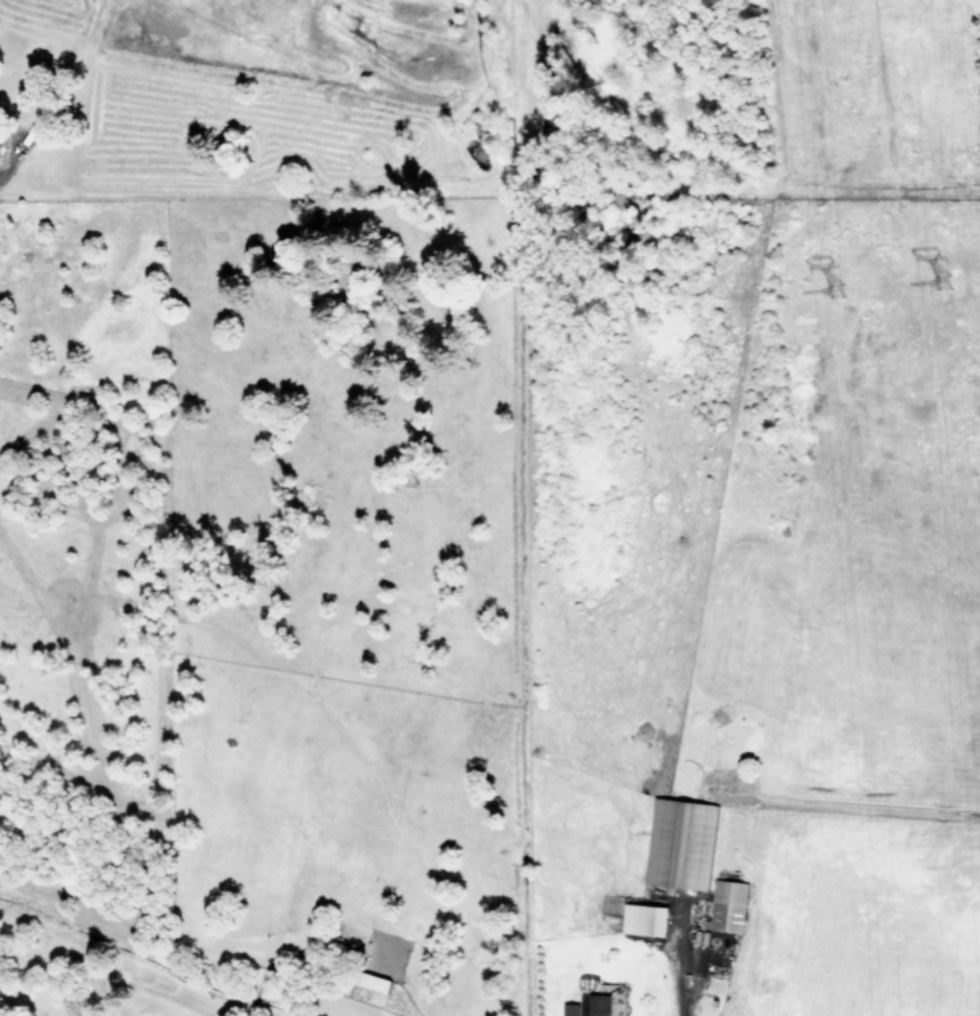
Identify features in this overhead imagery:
road: (8, 162)
power tower: (949, 288)
power tower: (838, 296)
building: (681, 843)
building: (727, 905)
building: (645, 918)
road: (680, 976)
building: (599, 1004)
building: (571, 1009)

